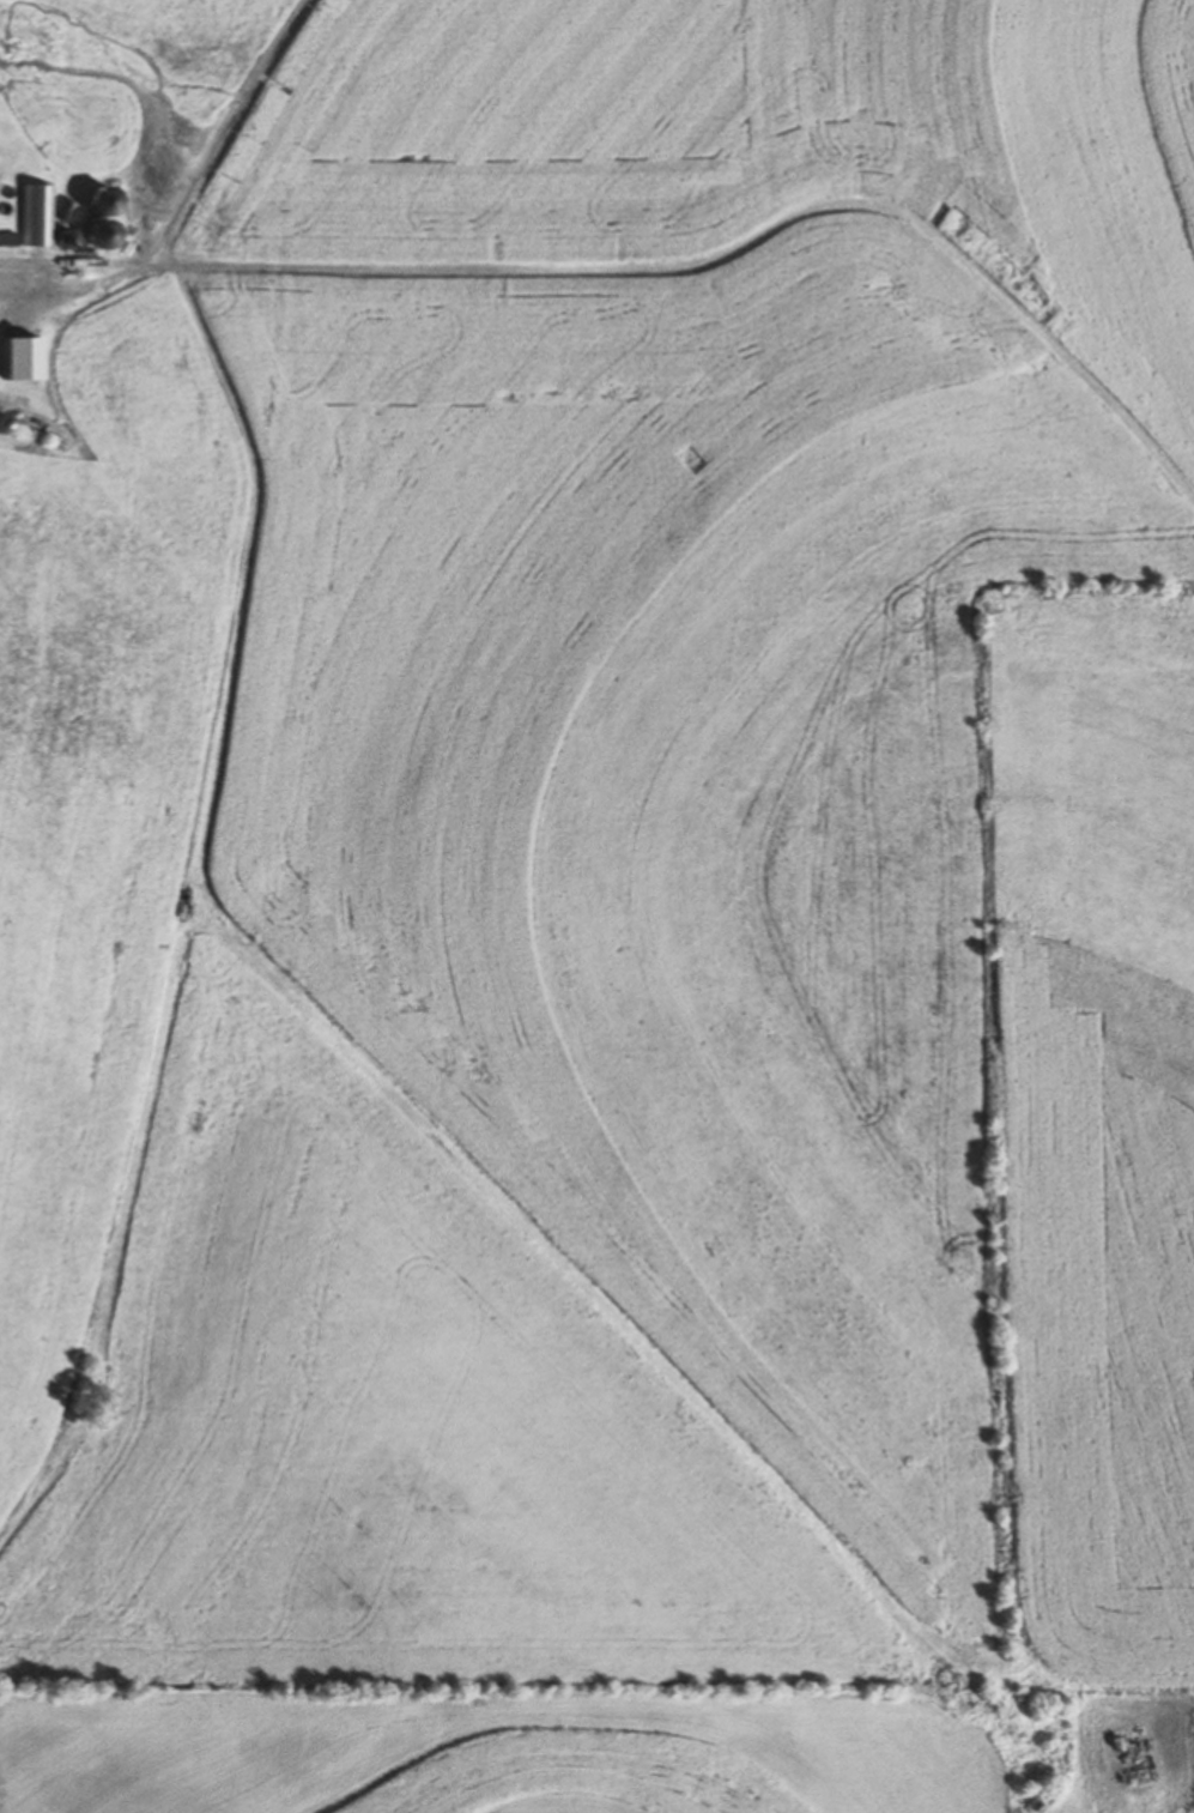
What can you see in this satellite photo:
building: (36, 213)
building: (6, 237)
road: (8, 265)

